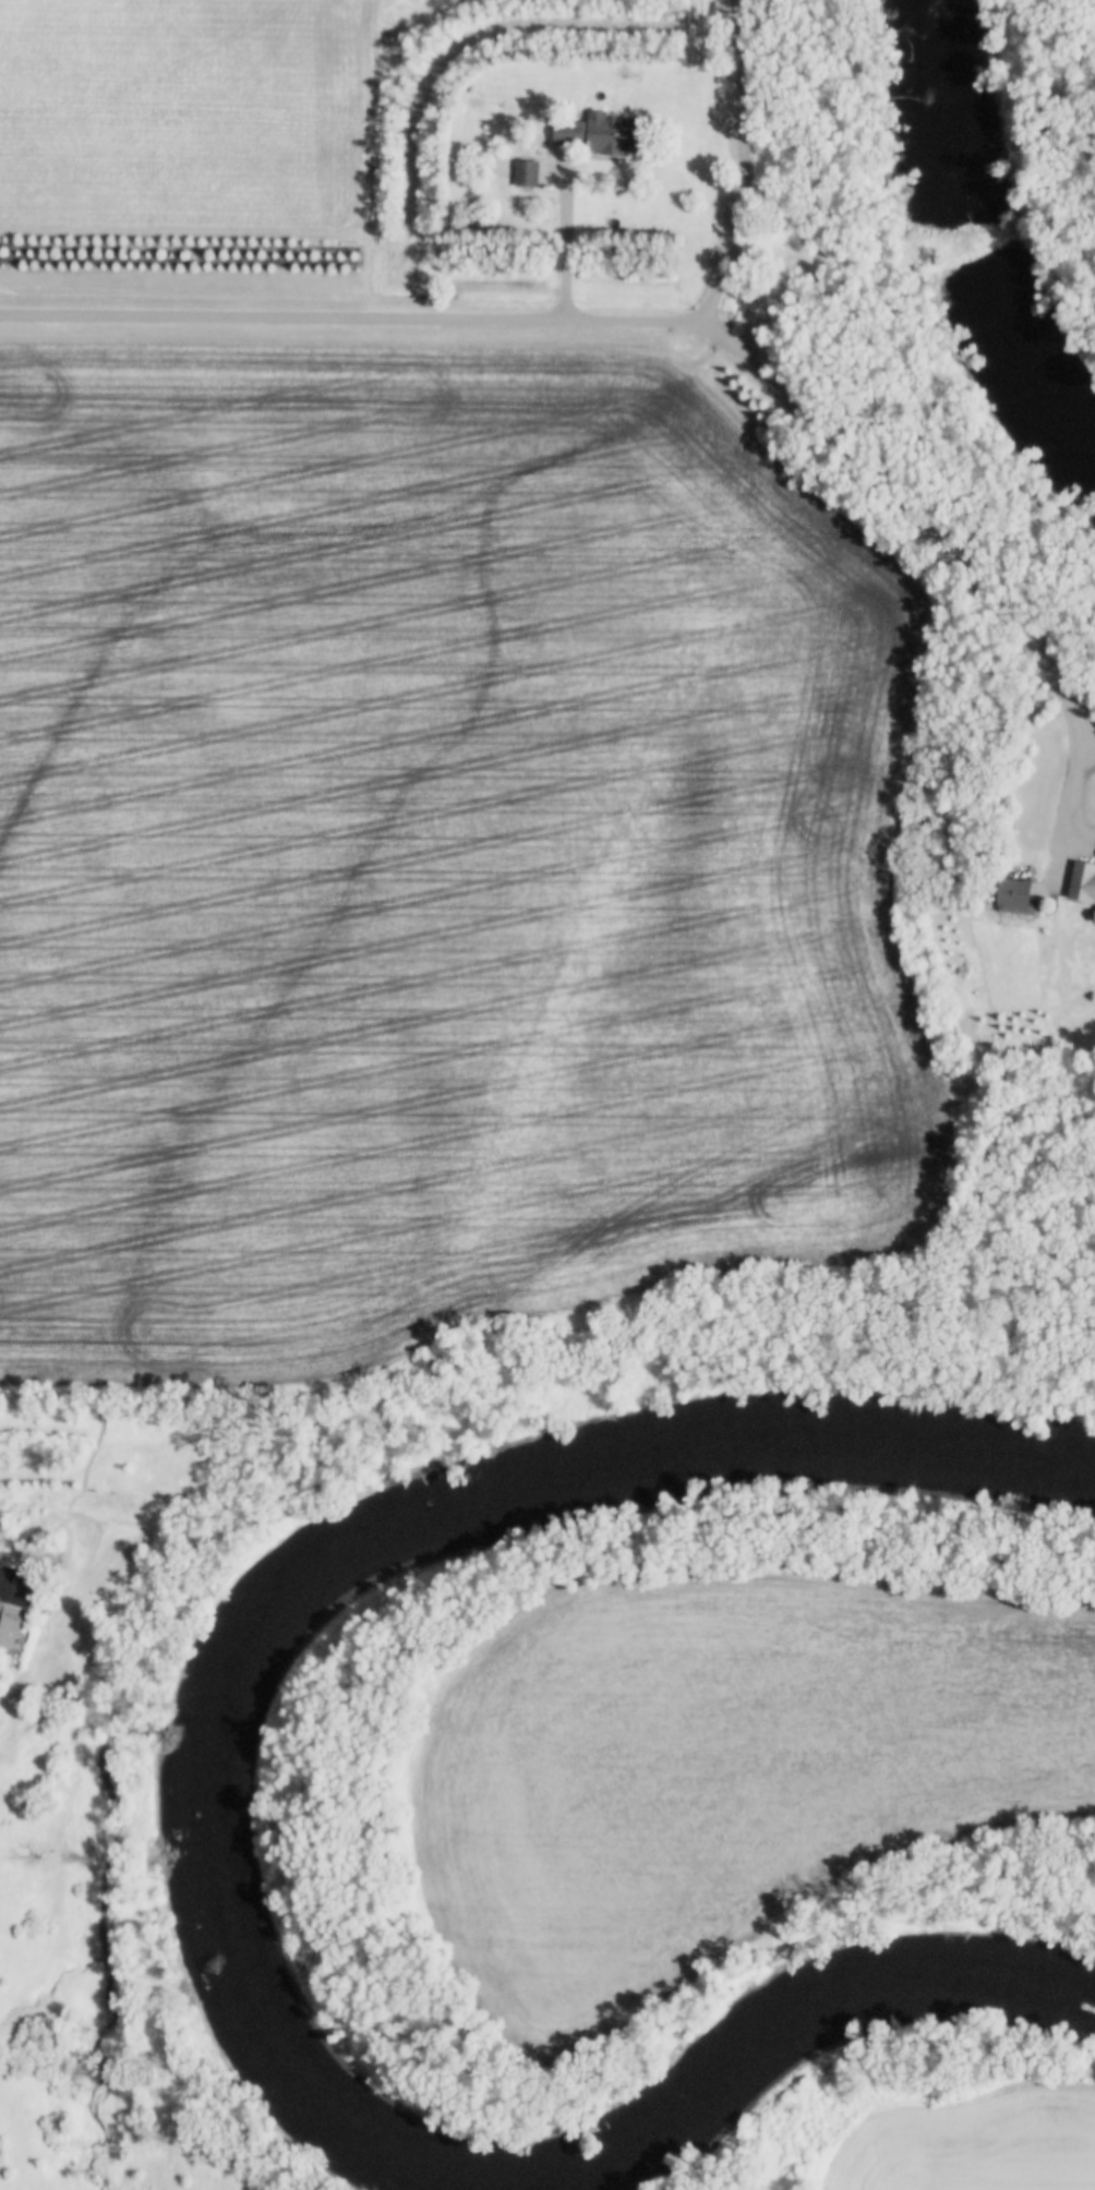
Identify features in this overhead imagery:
building: (605, 134)
building: (529, 173)
road: (563, 243)
road: (515, 323)
road: (905, 513)
road: (1072, 778)
building: (1085, 879)
building: (1022, 895)
river: (610, 1482)
building: (19, 1601)
crop: (721, 1768)
river: (248, 2013)
river: (819, 2025)

